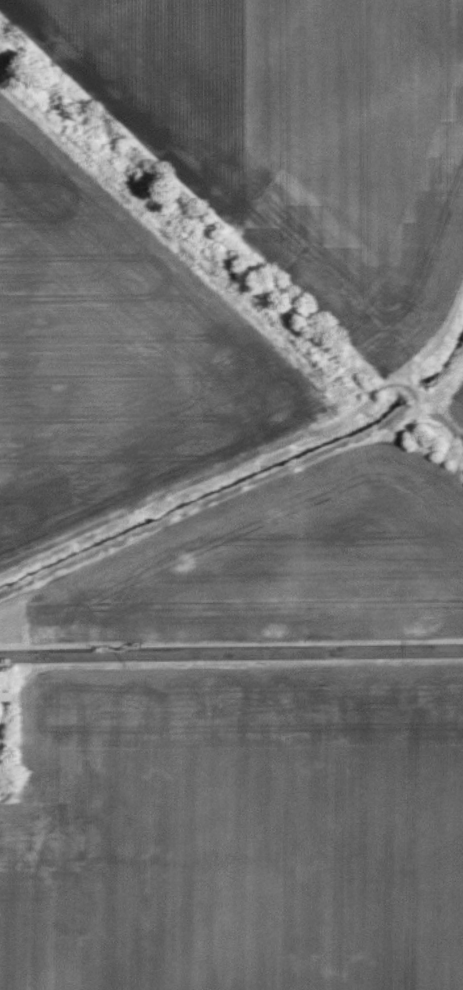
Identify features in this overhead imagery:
road: (231, 661)

